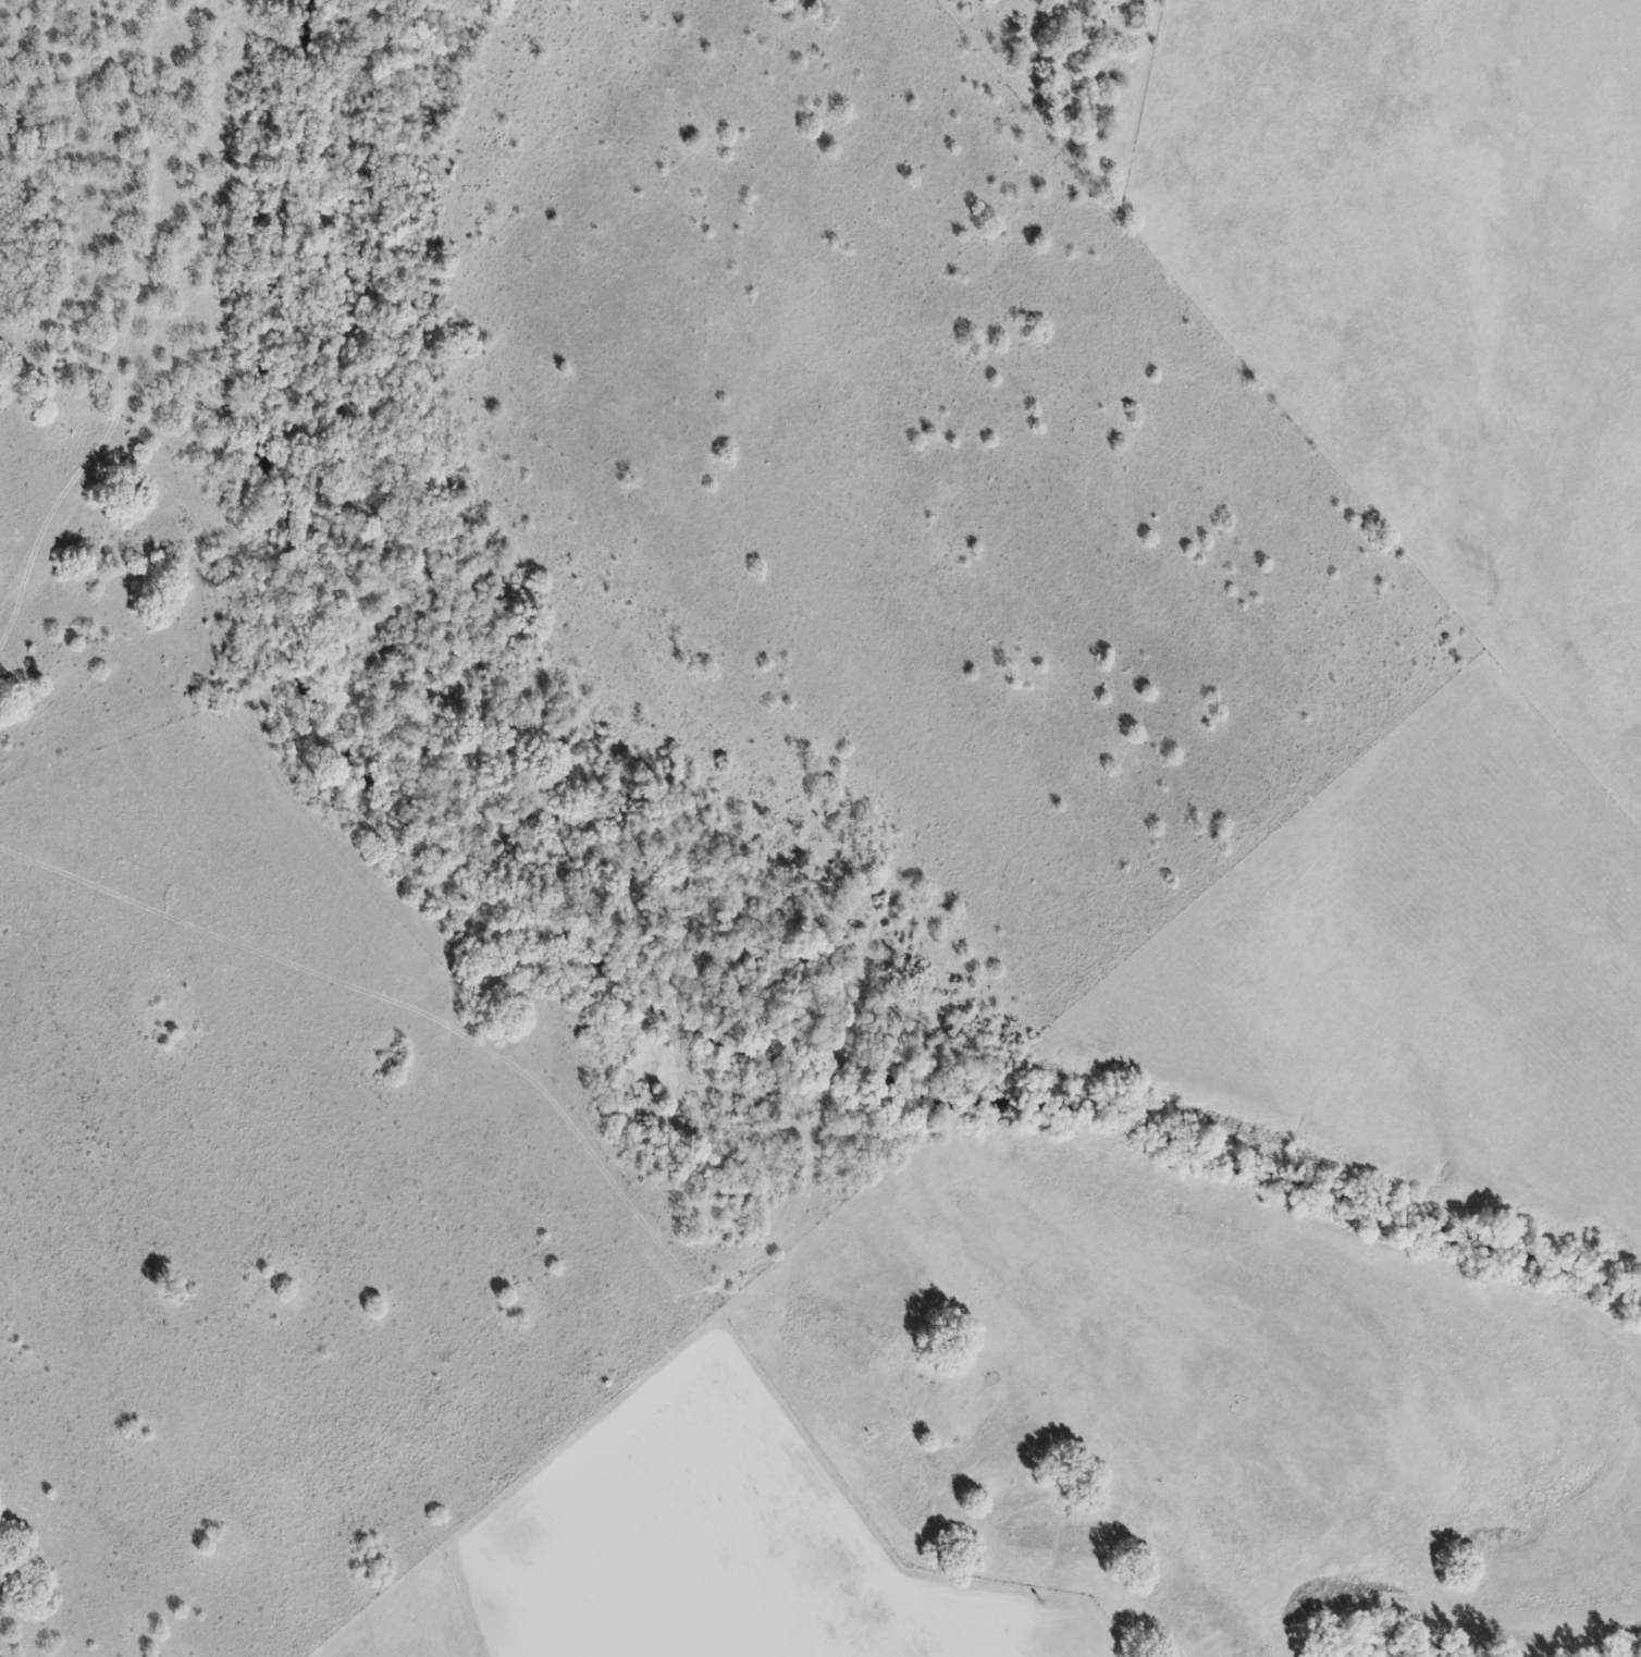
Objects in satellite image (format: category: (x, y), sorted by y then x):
river: (593, 948)
river: (1378, 1634)

